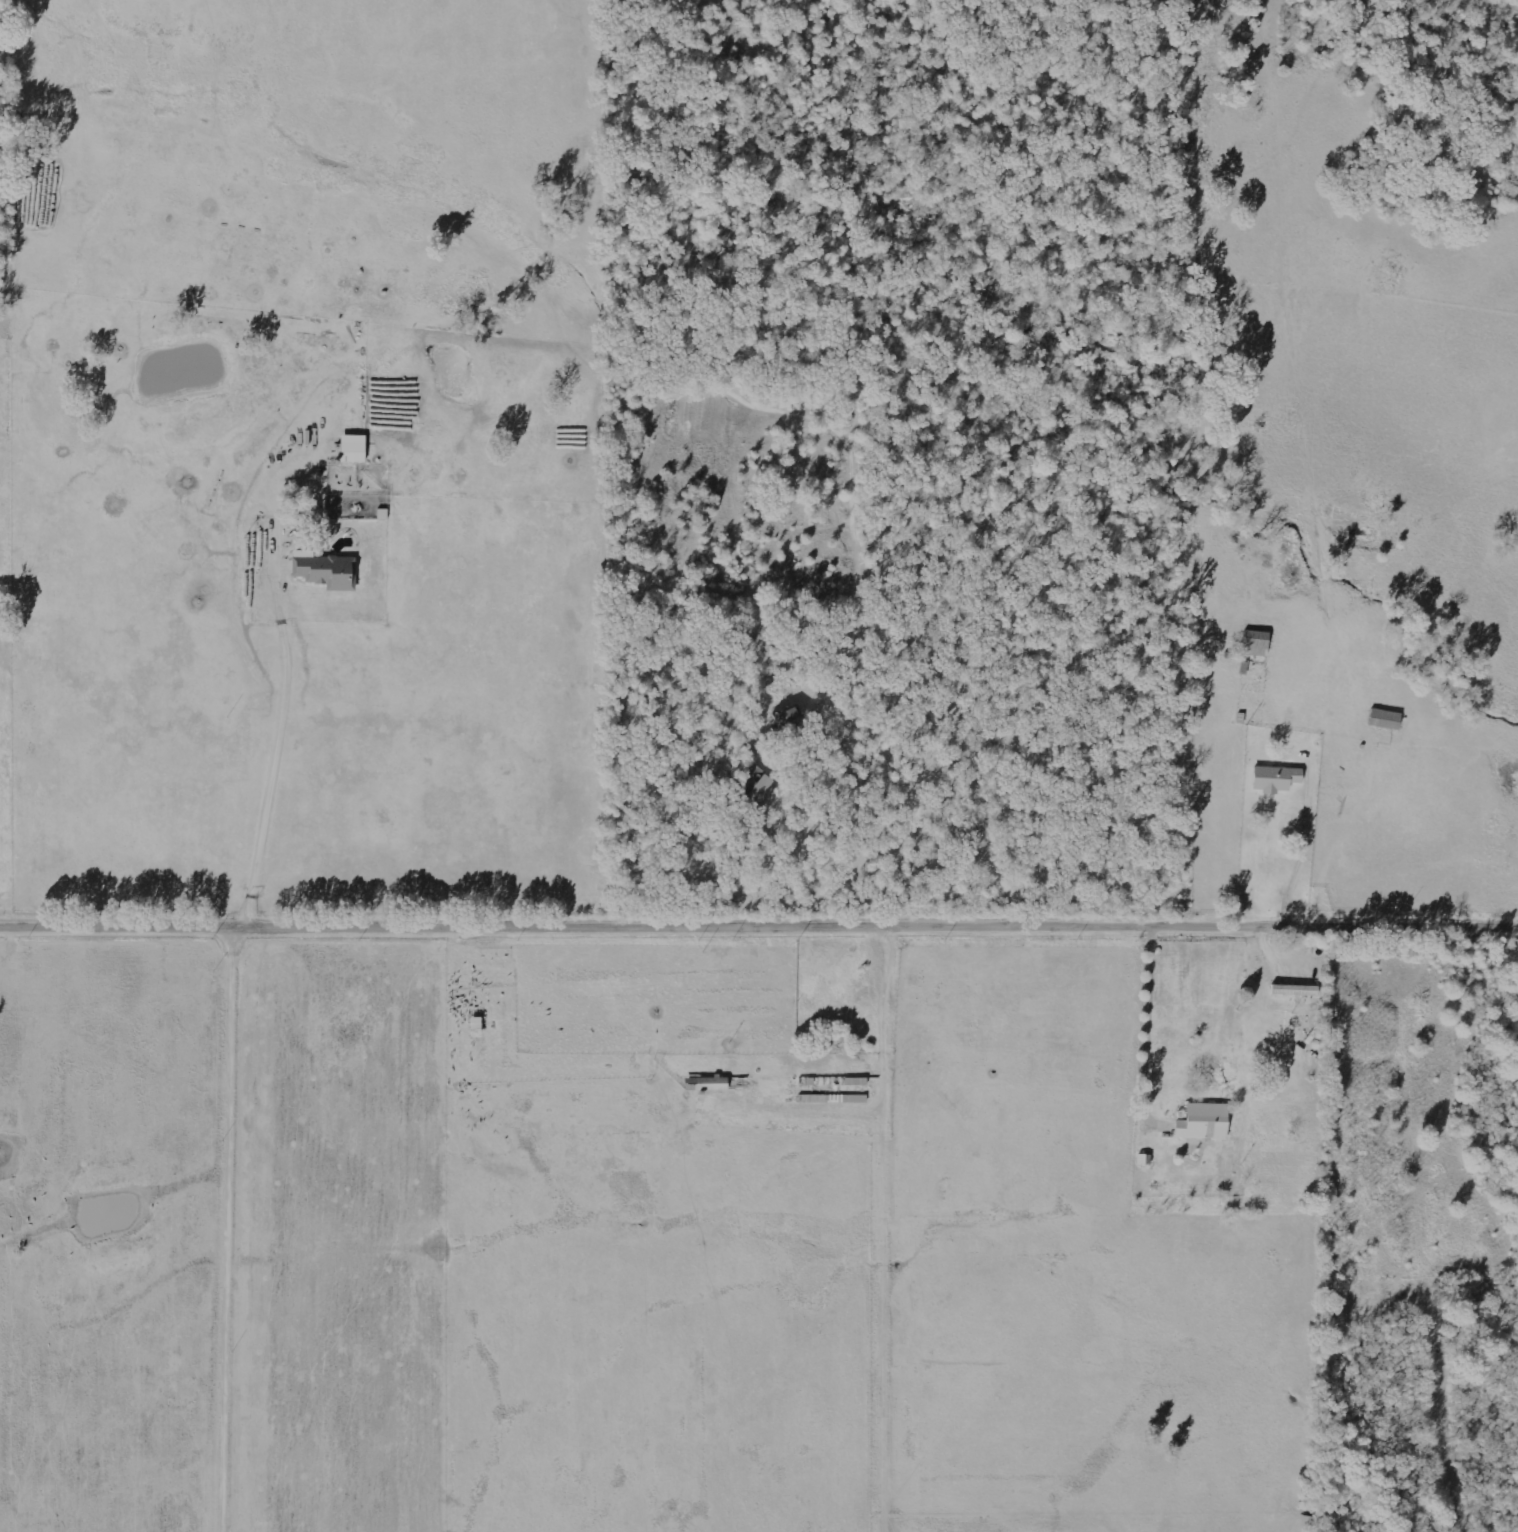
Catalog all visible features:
building: (353, 448)
building: (327, 571)
building: (1256, 642)
building: (1385, 718)
building: (1275, 777)
road: (1295, 855)
road: (758, 930)
building: (1295, 989)
building: (705, 1083)
building: (1203, 1121)
building: (1144, 1159)
road: (230, 1231)
road: (1273, 1231)

